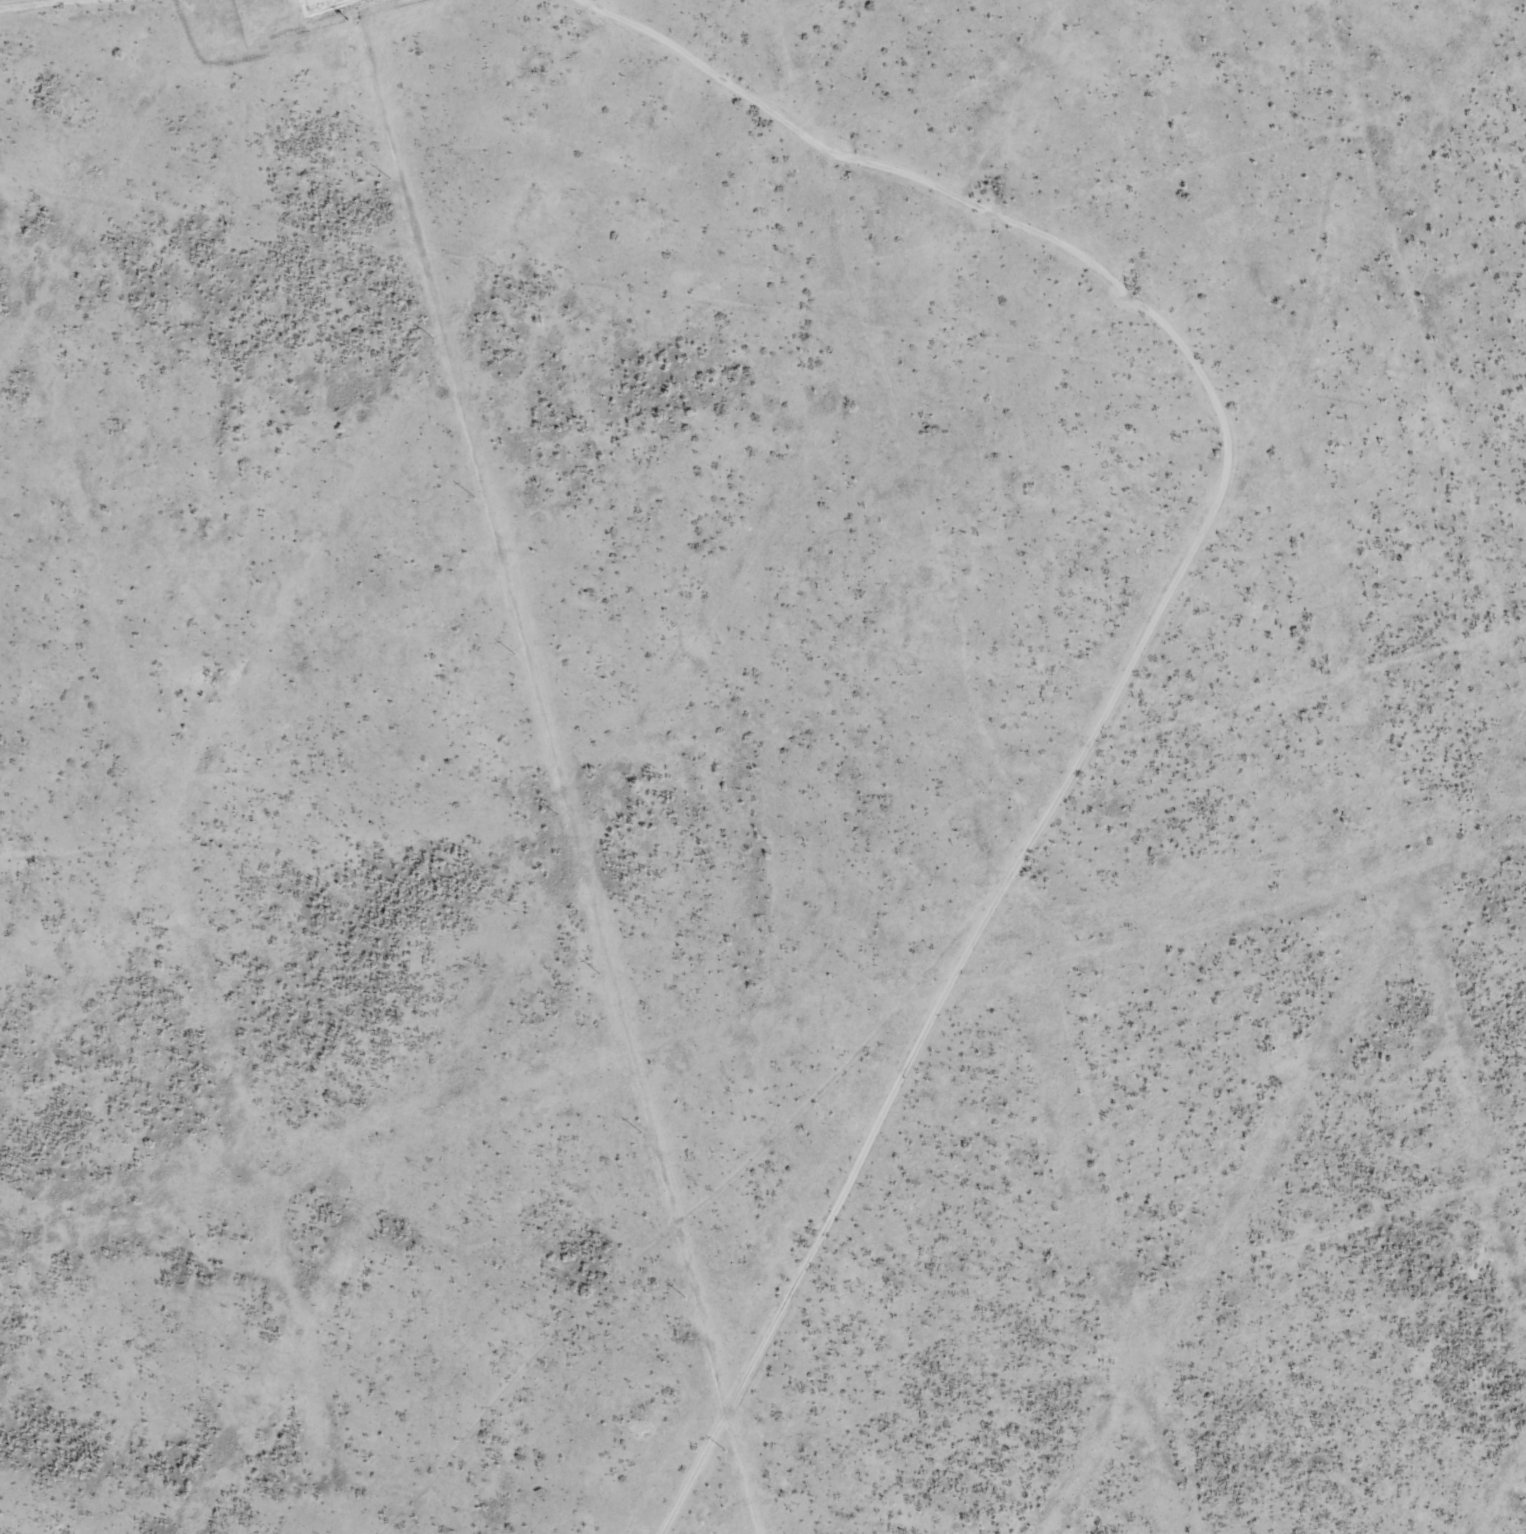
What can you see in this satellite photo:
road: (1186, 350)
road: (808, 1255)
road: (701, 1262)

